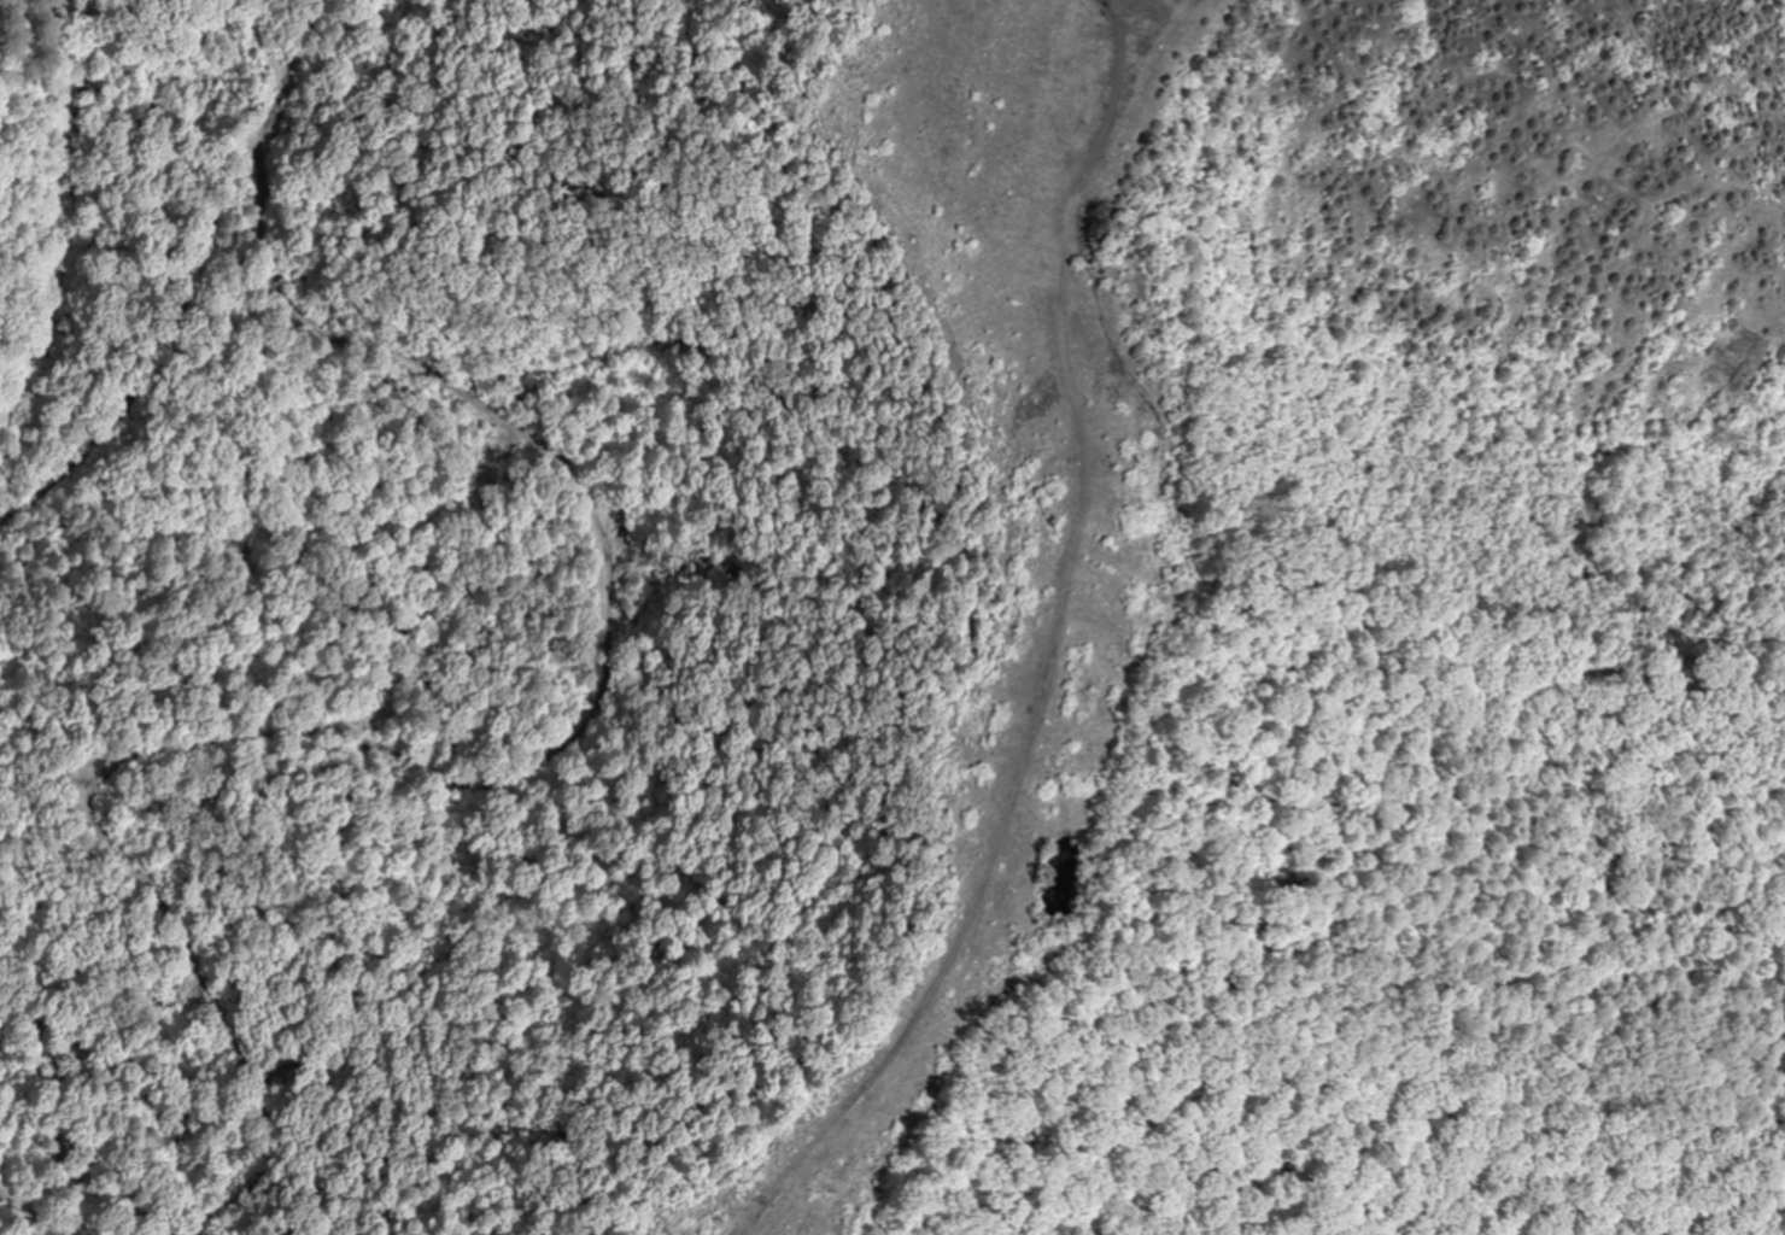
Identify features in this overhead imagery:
road: (72, 229)

